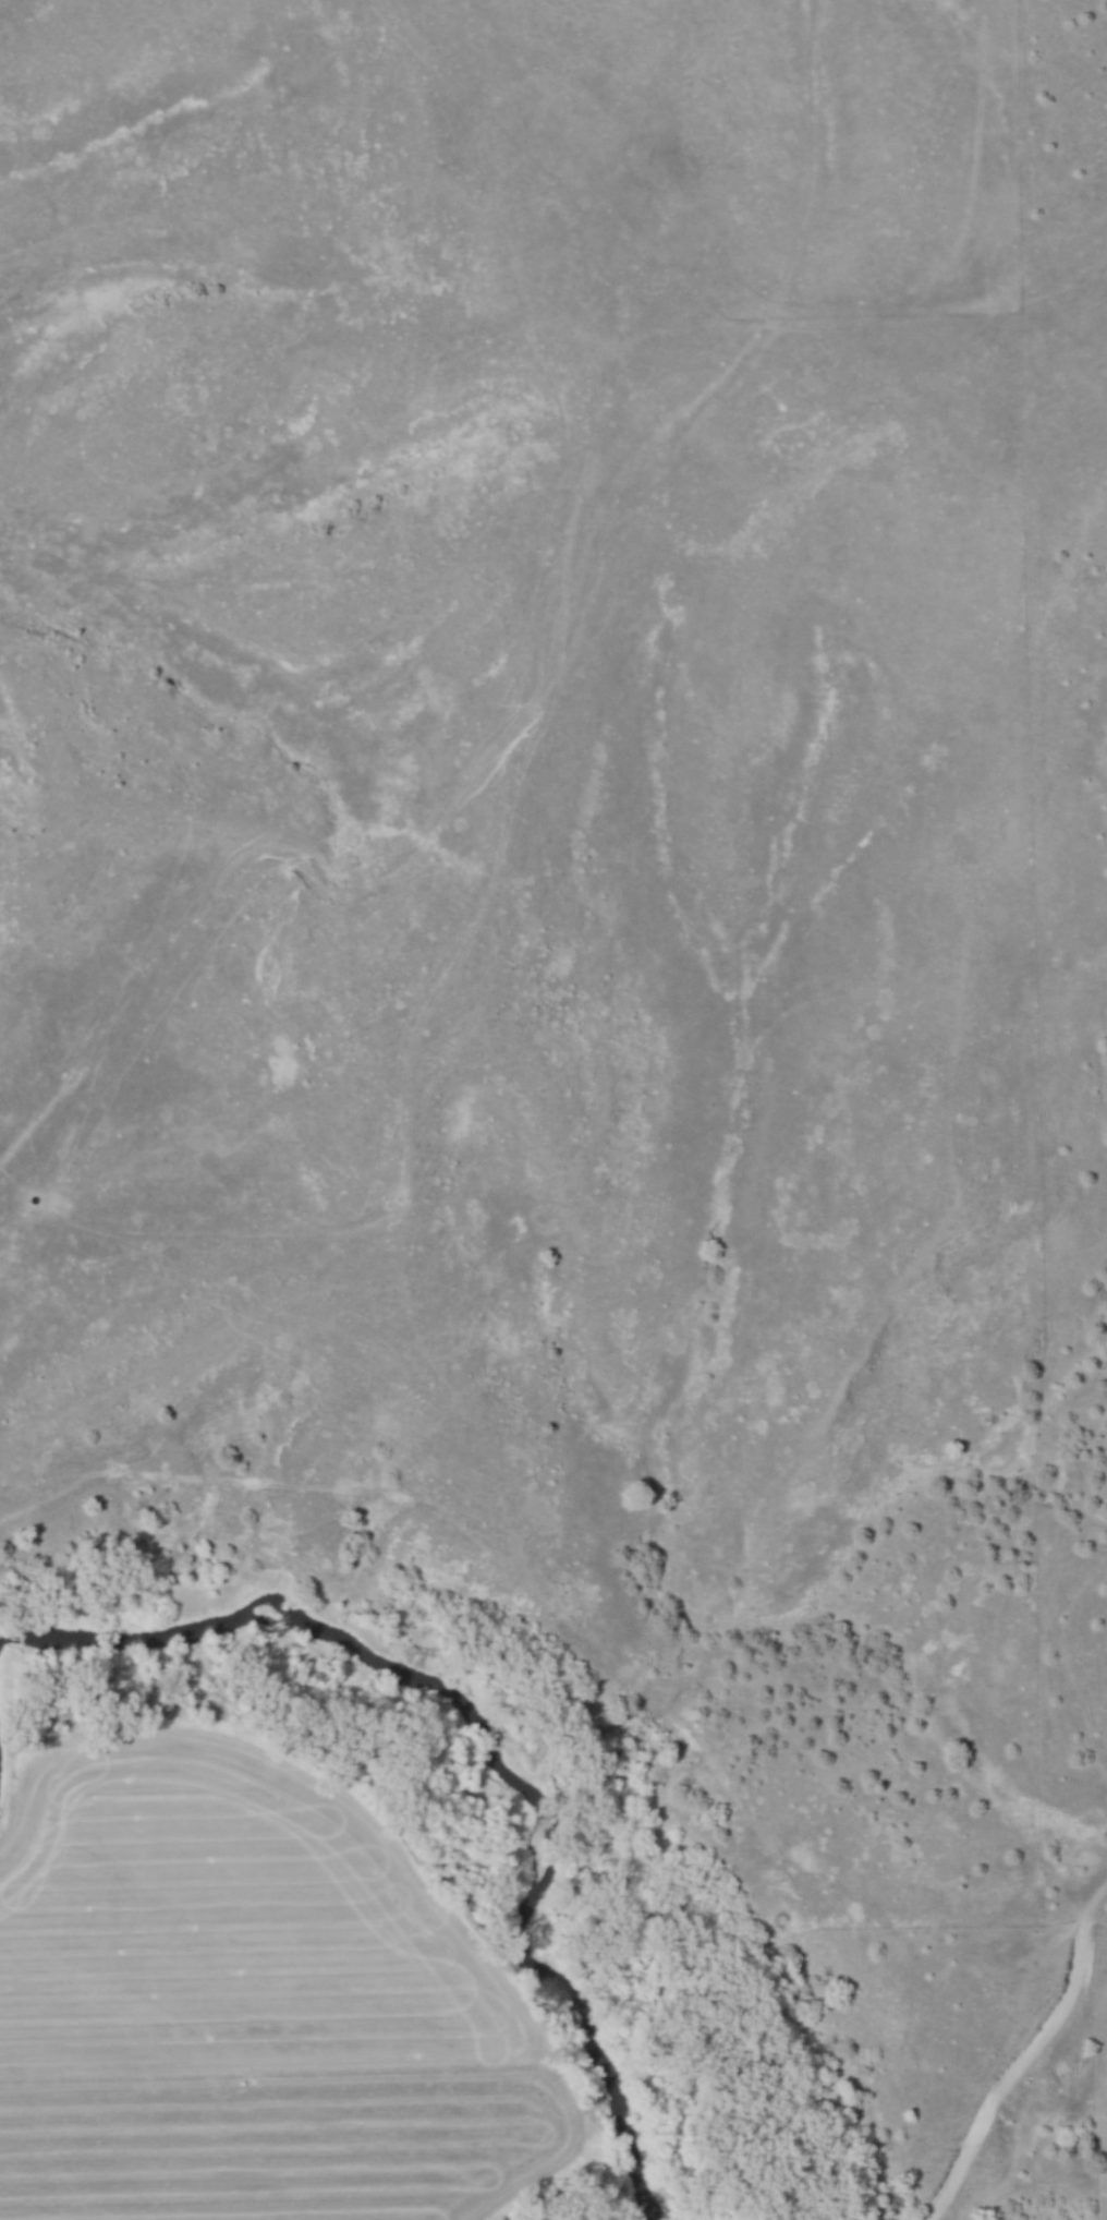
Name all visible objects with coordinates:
crop: (223, 1918)

